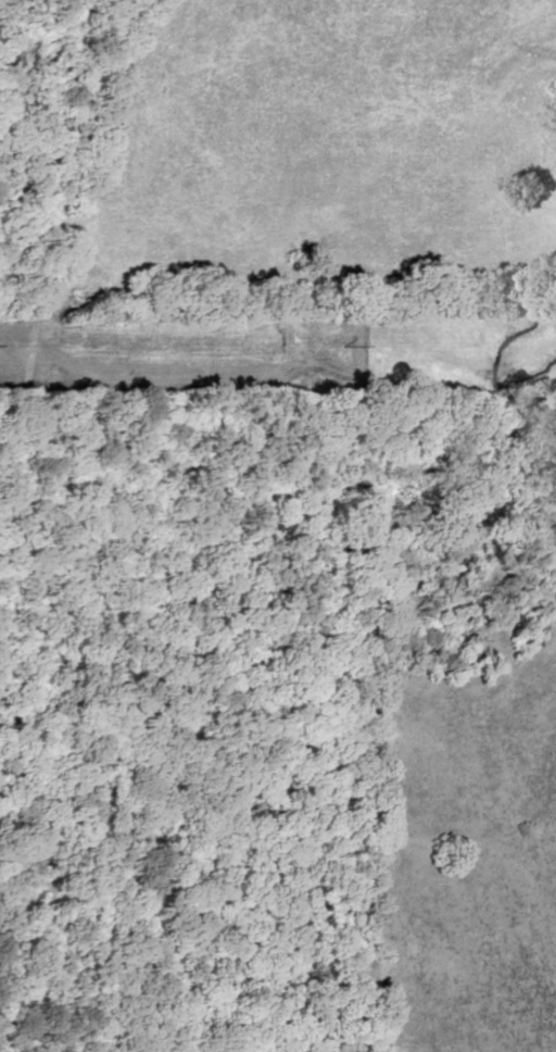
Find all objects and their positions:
road: (61, 304)

